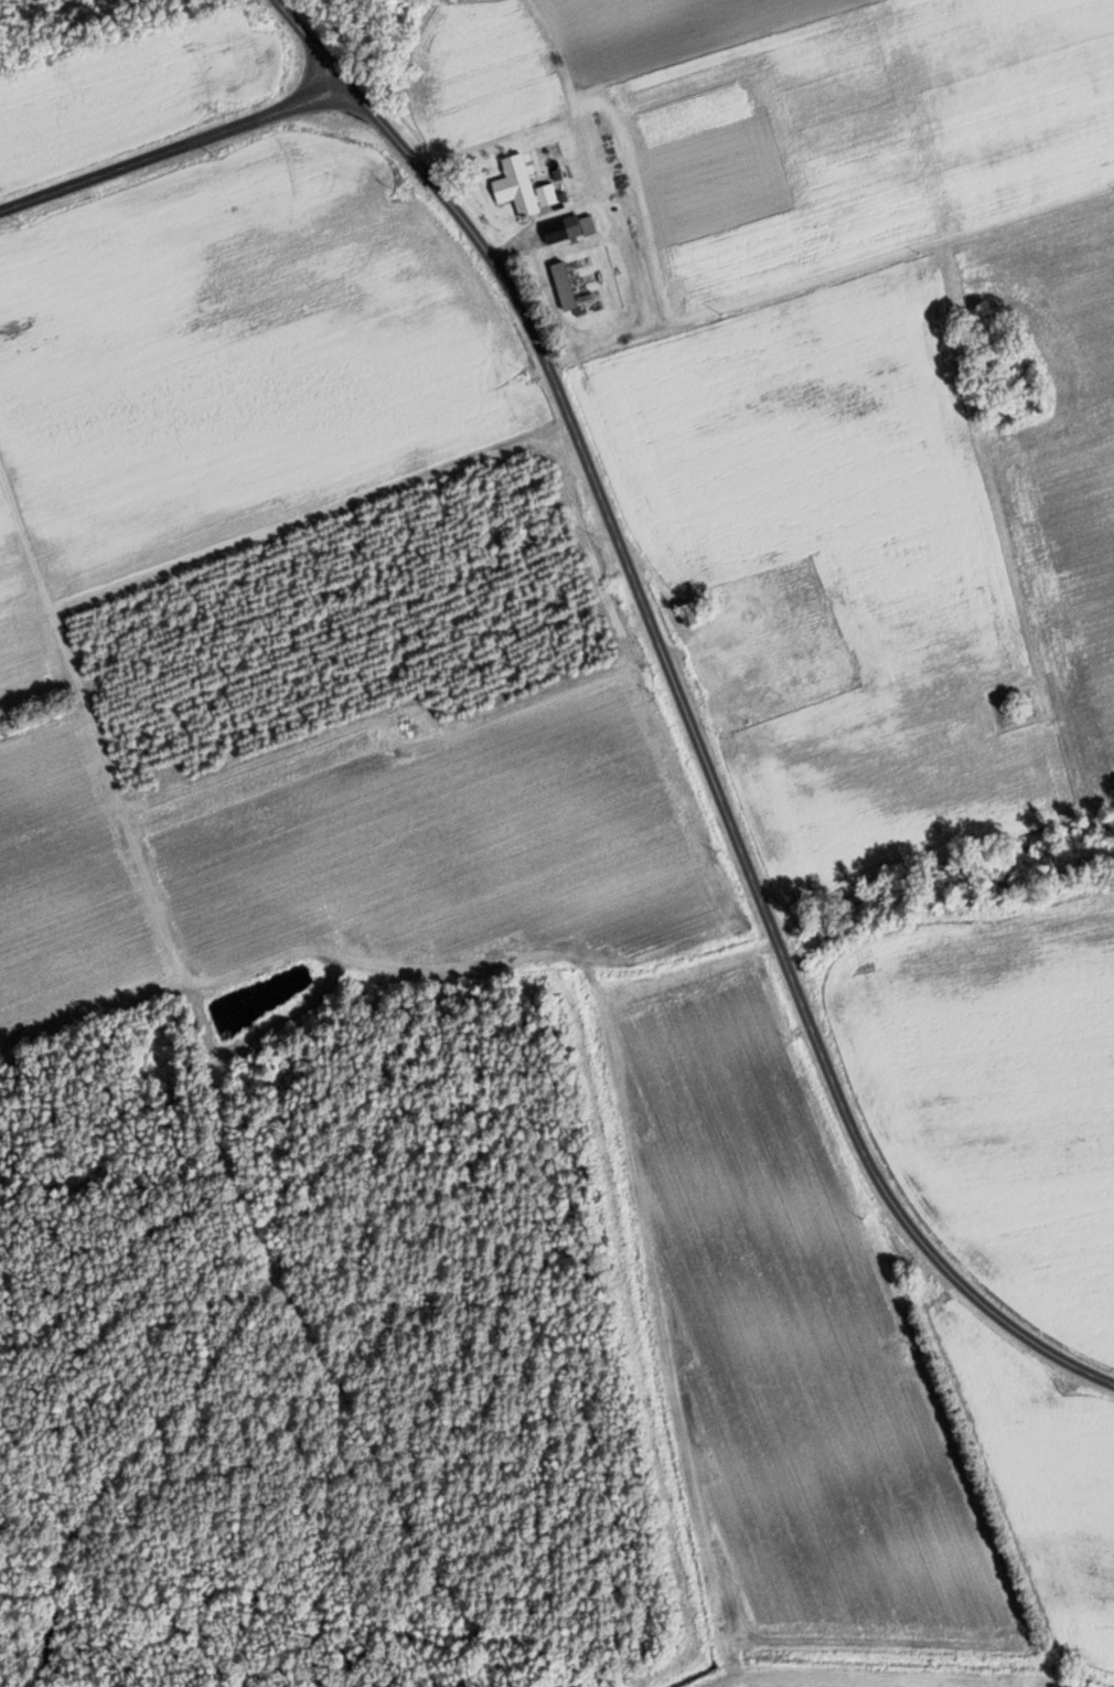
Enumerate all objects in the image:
road: (178, 147)
building: (522, 192)
road: (822, 224)
building: (588, 225)
building: (554, 231)
building: (564, 286)
building: (686, 615)
road: (687, 708)

